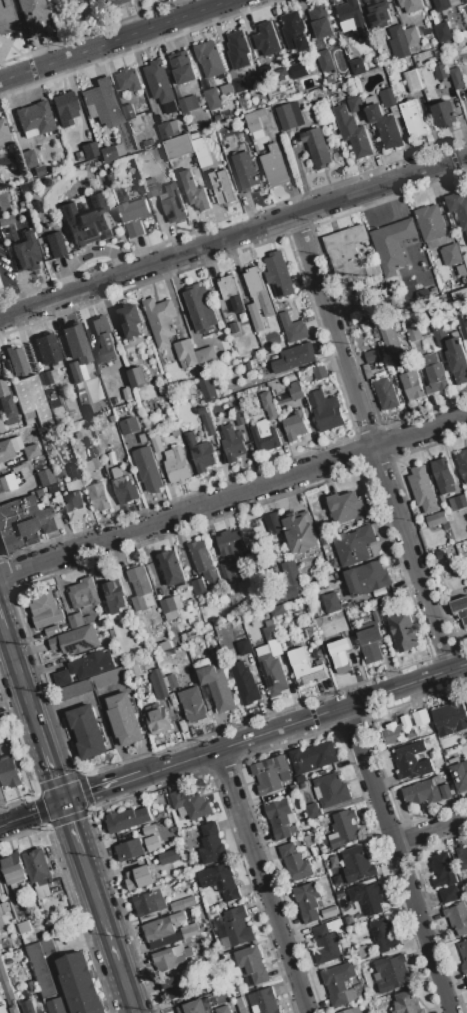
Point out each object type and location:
building: (119, 3)
building: (411, 5)
building: (441, 5)
building: (379, 14)
building: (32, 15)
building: (6, 19)
building: (352, 19)
building: (321, 22)
building: (295, 33)
building: (443, 33)
building: (411, 37)
road: (113, 39)
building: (267, 41)
building: (398, 44)
building: (238, 51)
building: (210, 60)
building: (325, 61)
building: (357, 67)
building: (182, 68)
building: (299, 72)
building: (441, 73)
building: (280, 75)
building: (456, 79)
building: (128, 81)
building: (412, 82)
building: (158, 83)
building: (239, 85)
building: (254, 88)
building: (226, 90)
building: (210, 96)
building: (387, 99)
building: (102, 103)
building: (188, 105)
building: (355, 105)
building: (64, 108)
building: (128, 113)
building: (256, 115)
building: (444, 115)
building: (289, 117)
building: (34, 119)
building: (413, 120)
building: (384, 125)
building: (254, 126)
building: (3, 130)
building: (166, 133)
building: (352, 133)
building: (147, 144)
building: (178, 148)
building: (317, 149)
building: (89, 150)
building: (201, 150)
building: (110, 152)
building: (78, 156)
building: (27, 159)
building: (3, 160)
building: (274, 168)
building: (38, 171)
building: (245, 172)
building: (110, 178)
building: (22, 188)
building: (150, 188)
building: (222, 188)
building: (195, 192)
building: (173, 204)
building: (35, 207)
building: (459, 208)
building: (132, 213)
building: (6, 220)
building: (87, 223)
building: (431, 224)
road: (233, 236)
building: (54, 245)
building: (393, 245)
building: (345, 251)
building: (25, 253)
building: (450, 256)
building: (460, 268)
building: (374, 271)
building: (279, 276)
building: (231, 294)
building: (422, 296)
building: (460, 296)
building: (258, 300)
building: (201, 309)
building: (131, 321)
building: (160, 321)
building: (463, 327)
building: (234, 328)
building: (293, 329)
building: (439, 334)
building: (414, 335)
building: (104, 340)
building: (389, 340)
building: (76, 343)
building: (46, 349)
building: (185, 353)
building: (206, 357)
building: (371, 357)
building: (294, 359)
building: (15, 360)
building: (457, 361)
building: (247, 368)
building: (74, 372)
building: (319, 373)
building: (435, 375)
building: (48, 376)
building: (137, 377)
building: (411, 380)
building: (210, 387)
building: (127, 394)
building: (290, 395)
building: (386, 395)
building: (97, 397)
building: (31, 400)
building: (5, 406)
building: (268, 406)
building: (326, 411)
building: (77, 413)
building: (239, 416)
building: (206, 422)
building: (1, 426)
building: (129, 426)
building: (295, 427)
building: (176, 433)
building: (265, 437)
road: (373, 441)
building: (233, 444)
building: (157, 445)
building: (9, 448)
building: (30, 451)
building: (201, 454)
building: (91, 461)
building: (462, 465)
building: (177, 466)
building: (147, 470)
building: (73, 471)
building: (20, 472)
building: (443, 476)
building: (44, 477)
building: (6, 482)
building: (50, 488)
building: (123, 488)
building: (422, 490)
building: (38, 493)
road: (233, 496)
building: (98, 498)
building: (461, 502)
building: (73, 506)
building: (346, 508)
building: (47, 520)
building: (436, 520)
building: (18, 525)
building: (273, 525)
building: (300, 534)
building: (354, 546)
building: (232, 547)
building: (204, 562)
building: (172, 569)
building: (228, 574)
building: (292, 579)
building: (367, 579)
building: (198, 589)
building: (140, 590)
building: (83, 595)
building: (115, 597)
building: (331, 603)
building: (383, 603)
building: (44, 607)
building: (67, 607)
building: (169, 610)
building: (460, 610)
building: (277, 611)
building: (75, 621)
road: (2, 623)
building: (52, 631)
building: (404, 633)
building: (270, 634)
building: (75, 641)
building: (371, 644)
building: (244, 648)
building: (340, 656)
building: (92, 665)
building: (305, 669)
building: (133, 671)
building: (273, 675)
building: (62, 678)
building: (109, 679)
building: (157, 681)
building: (172, 682)
building: (244, 684)
road: (25, 688)
building: (217, 689)
building: (76, 690)
building: (466, 701)
building: (193, 706)
building: (450, 719)
building: (124, 720)
building: (157, 720)
road: (302, 720)
building: (404, 729)
building: (88, 733)
building: (313, 758)
building: (412, 763)
building: (9, 774)
road: (55, 774)
building: (458, 774)
building: (269, 776)
building: (300, 779)
building: (294, 789)
road: (102, 790)
building: (331, 791)
building: (445, 792)
building: (422, 794)
traffic signals: (65, 803)
building: (190, 805)
building: (313, 812)
road: (32, 814)
building: (165, 816)
building: (279, 819)
building: (127, 821)
road: (73, 827)
building: (343, 830)
building: (148, 831)
road: (427, 832)
building: (309, 841)
building: (151, 843)
building: (171, 844)
building: (211, 845)
building: (129, 850)
building: (163, 858)
building: (462, 859)
road: (392, 860)
building: (295, 864)
building: (357, 866)
building: (37, 868)
building: (14, 869)
building: (443, 871)
building: (139, 880)
building: (337, 880)
road: (265, 881)
building: (220, 882)
building: (1, 890)
building: (449, 895)
building: (371, 899)
building: (343, 901)
building: (308, 902)
building: (147, 904)
building: (177, 907)
building: (4, 909)
building: (330, 912)
building: (457, 918)
building: (163, 927)
building: (24, 928)
building: (234, 929)
building: (56, 930)
building: (190, 932)
road: (107, 933)
building: (383, 936)
building: (167, 940)
building: (327, 942)
building: (363, 953)
building: (463, 955)
building: (172, 959)
building: (252, 965)
building: (42, 967)
building: (392, 973)
building: (2, 974)
building: (466, 981)
building: (339, 984)
building: (79, 985)
building: (175, 988)
building: (9, 995)
building: (263, 1002)
building: (406, 1003)
building: (241, 1005)
building: (56, 1006)
building: (29, 1007)
building: (193, 1008)
building: (3, 1009)
building: (14, 1010)
building: (223, 1010)
building: (352, 1011)
building: (42, 1012)

